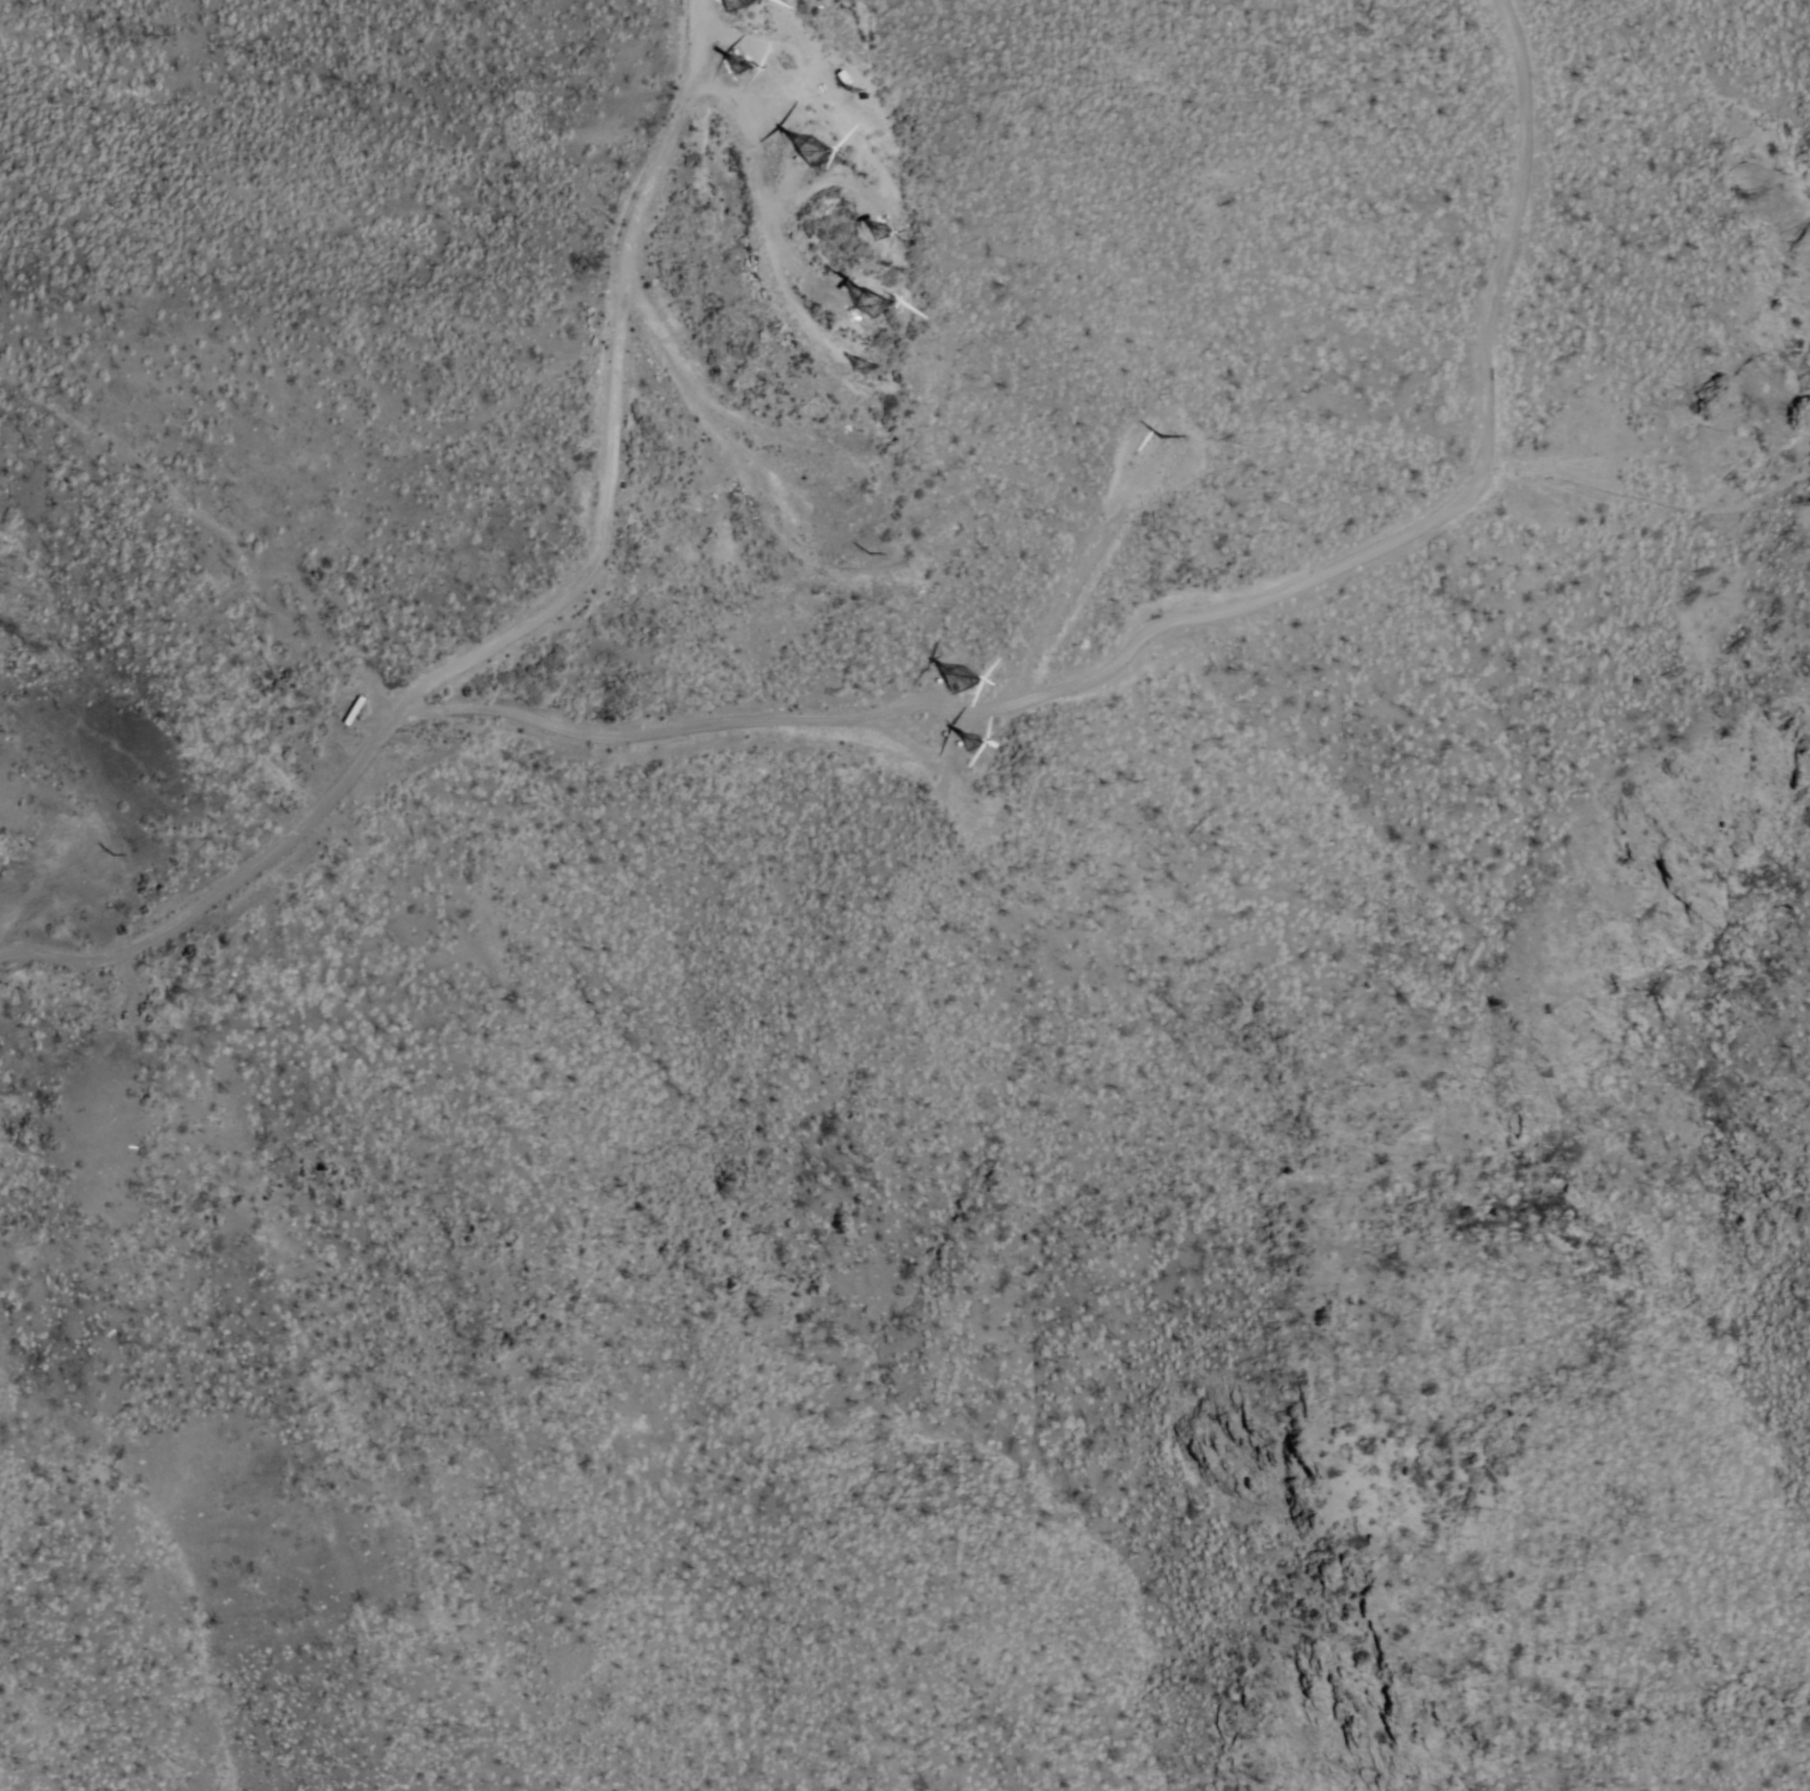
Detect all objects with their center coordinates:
wind turbine: (739, 68)
wind turbine: (817, 155)
wind turbine: (862, 237)
wind turbine: (872, 303)
wind turbine: (867, 373)
road: (630, 393)
wind turbine: (847, 440)
wind turbine: (837, 500)
road: (1189, 607)
wind turbine: (964, 682)
wind turbine: (968, 744)
wind turbine: (992, 823)
road: (235, 879)

